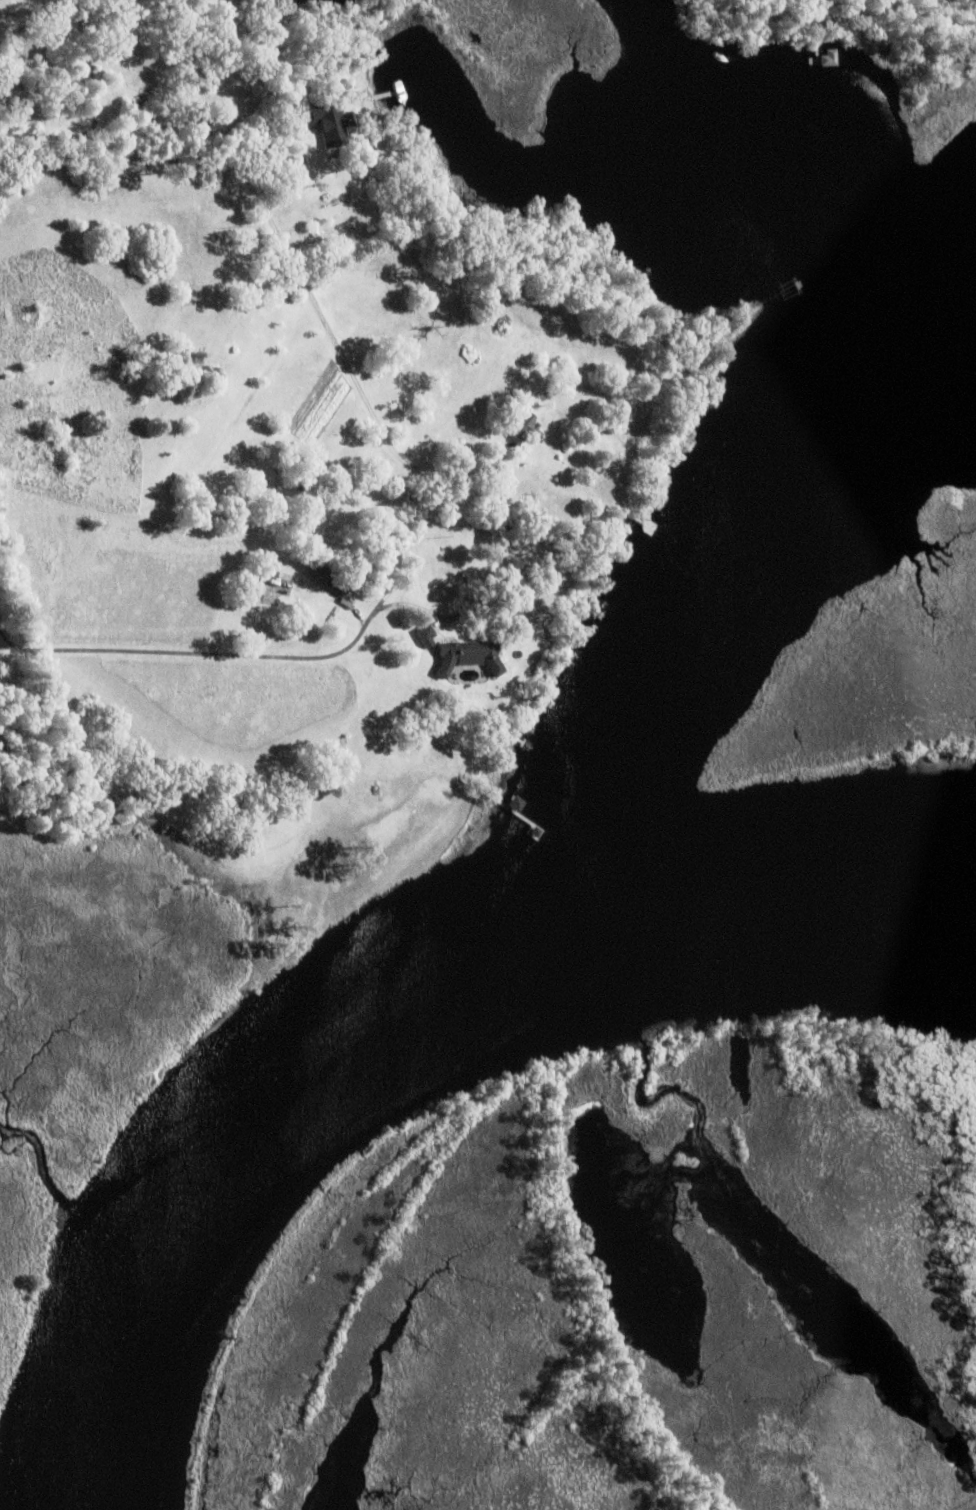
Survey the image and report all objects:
building: (827, 57)
road: (97, 82)
building: (330, 121)
building: (208, 122)
building: (313, 156)
road: (285, 247)
building: (508, 399)
building: (526, 427)
building: (578, 458)
building: (589, 471)
building: (306, 475)
building: (353, 485)
building: (329, 579)
building: (273, 580)
building: (424, 635)
road: (182, 652)
building: (466, 656)
building: (509, 804)
river: (392, 1017)

